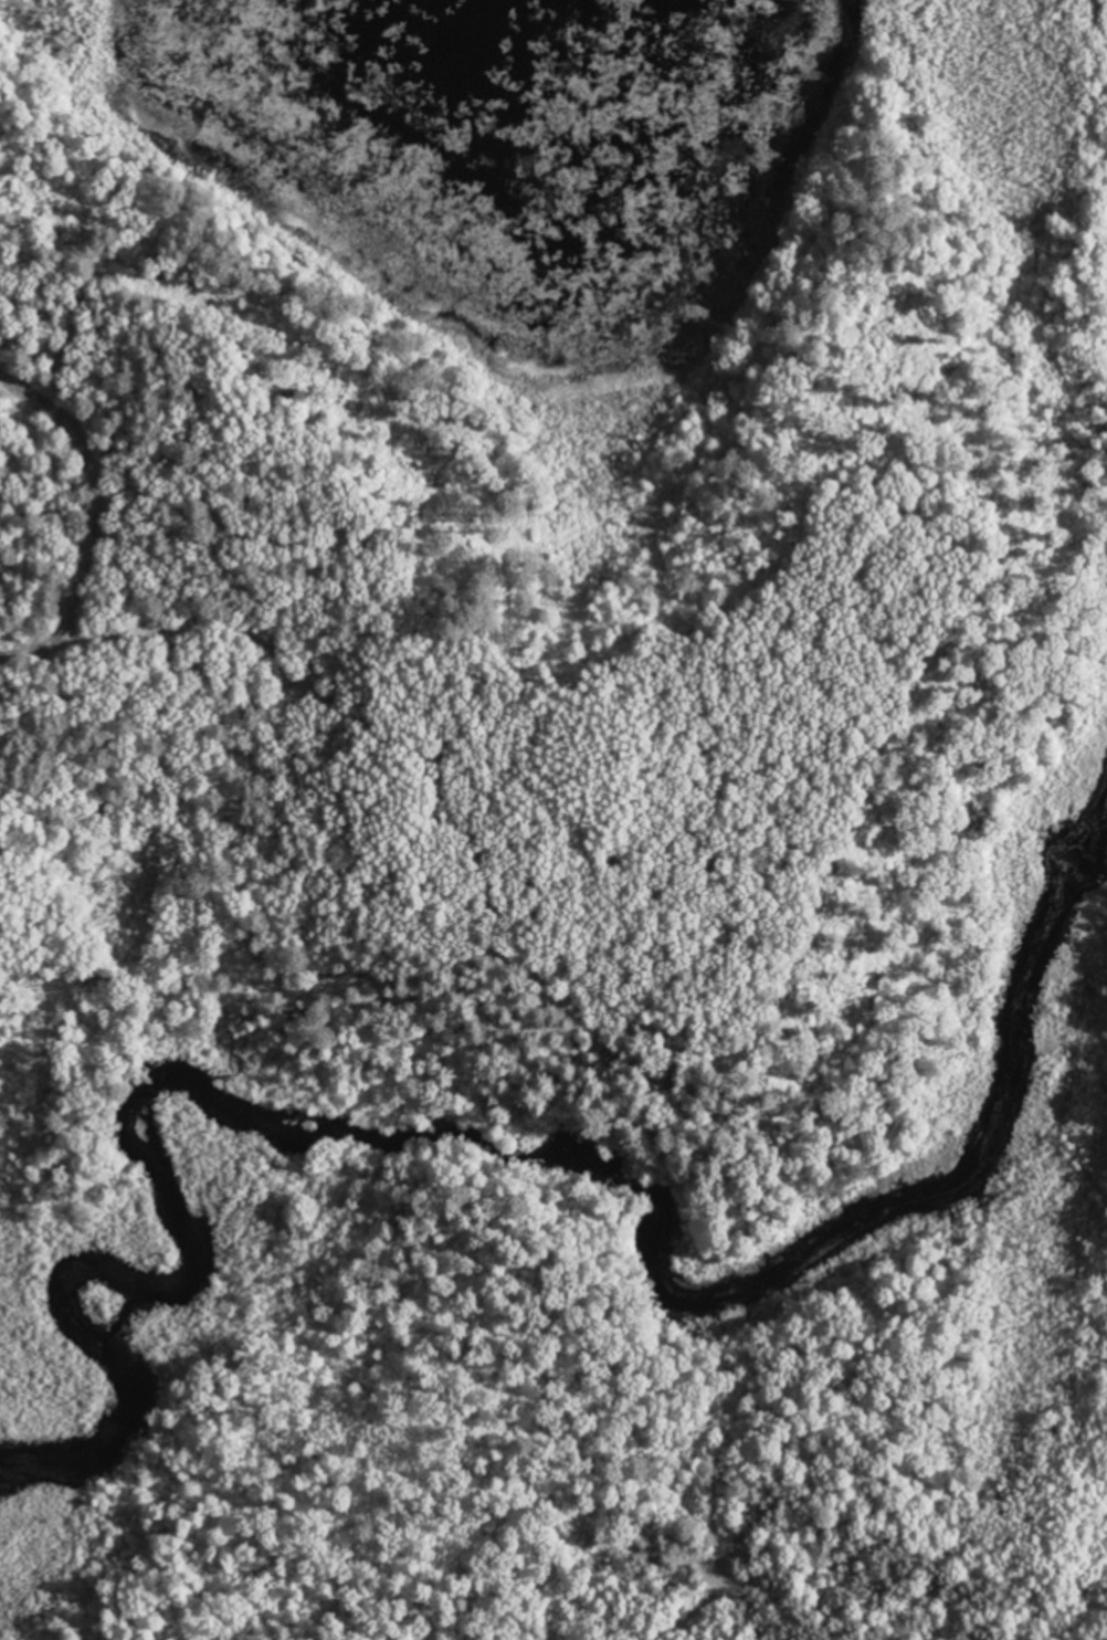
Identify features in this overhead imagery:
road: (742, 1391)

